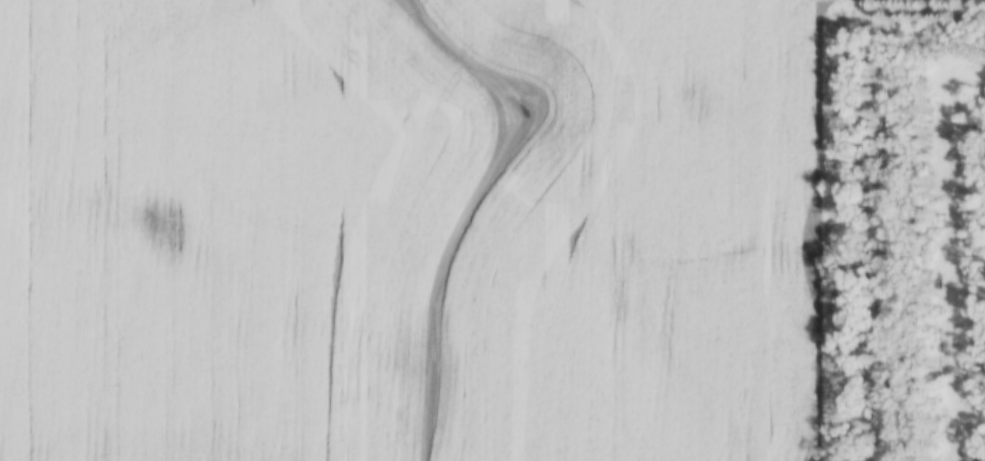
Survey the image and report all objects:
building: (972, 455)

